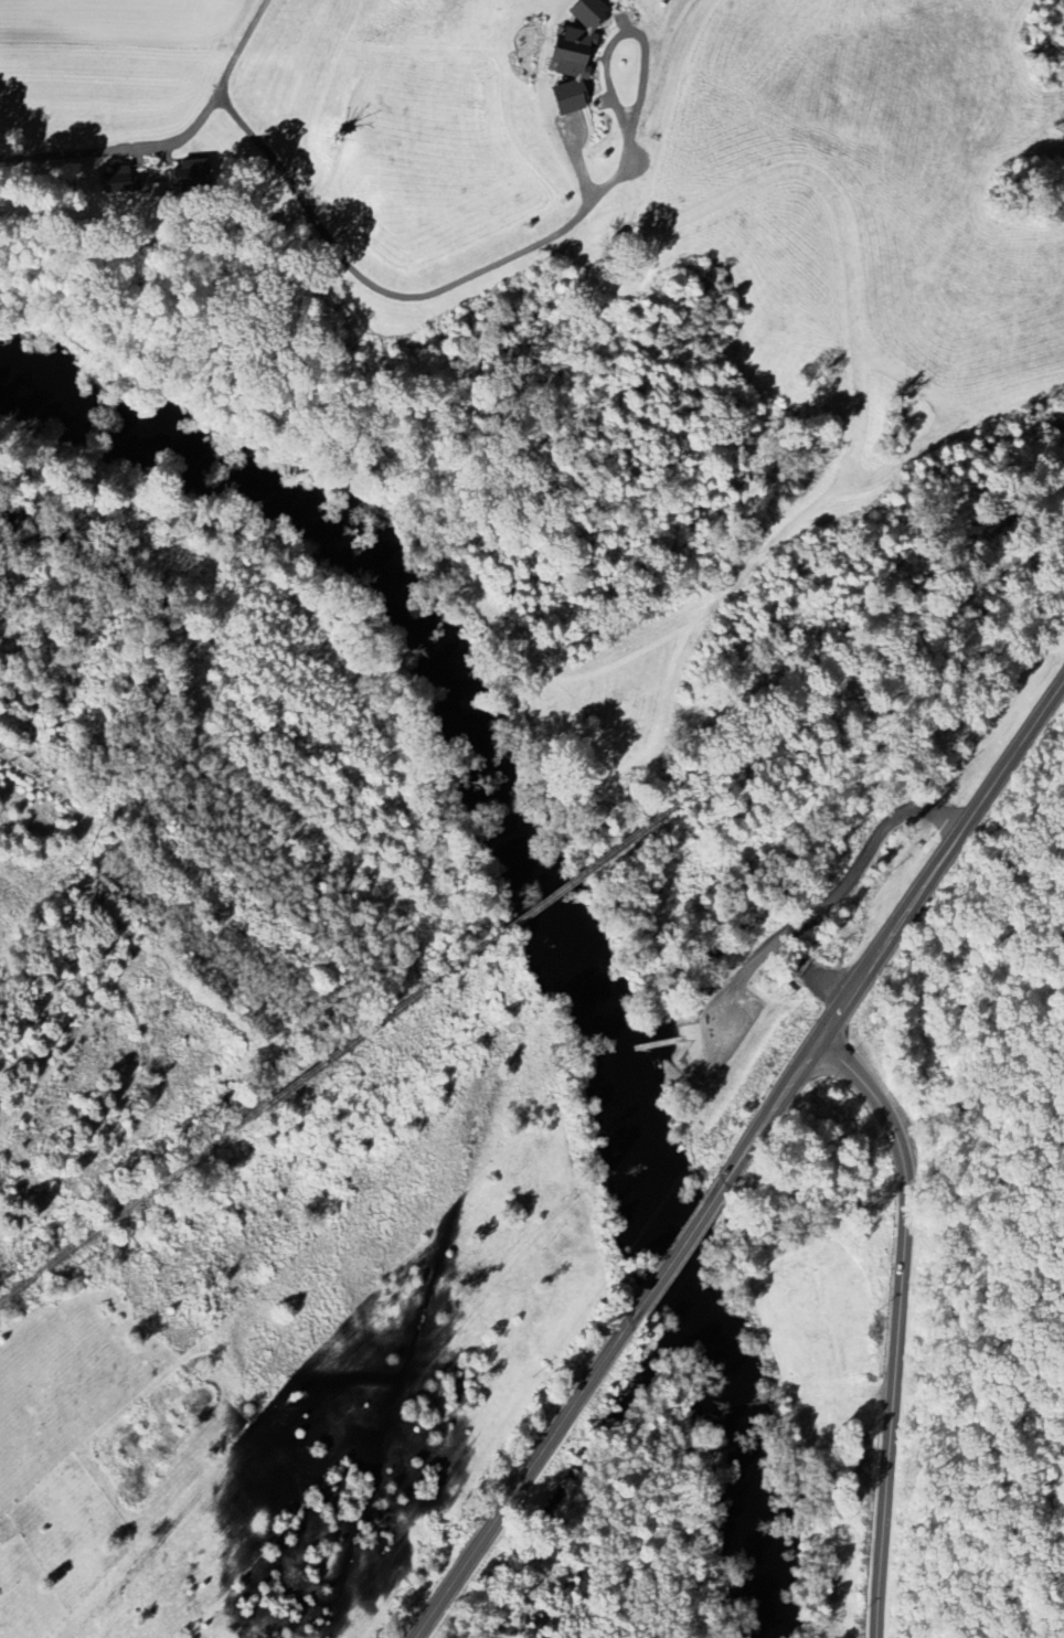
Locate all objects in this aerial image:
building: (565, 56)
road: (171, 139)
building: (190, 172)
building: (117, 181)
river: (372, 597)
railway: (873, 663)
road: (925, 884)
road: (830, 900)
railway: (470, 954)
river: (596, 1017)
parking lot: (721, 1029)
road: (684, 1031)
road: (687, 1038)
road: (655, 1043)
pier: (656, 1043)
road: (754, 1139)
railway: (131, 1201)
road: (674, 1252)
river: (701, 1310)
road: (904, 1323)
road: (525, 1479)
river: (773, 1610)

